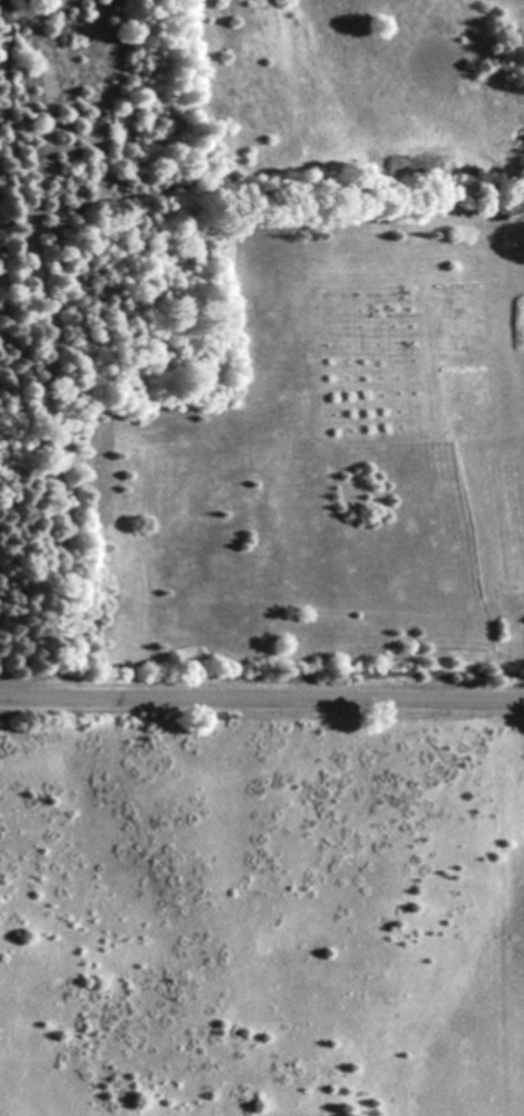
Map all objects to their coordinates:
road: (262, 697)

